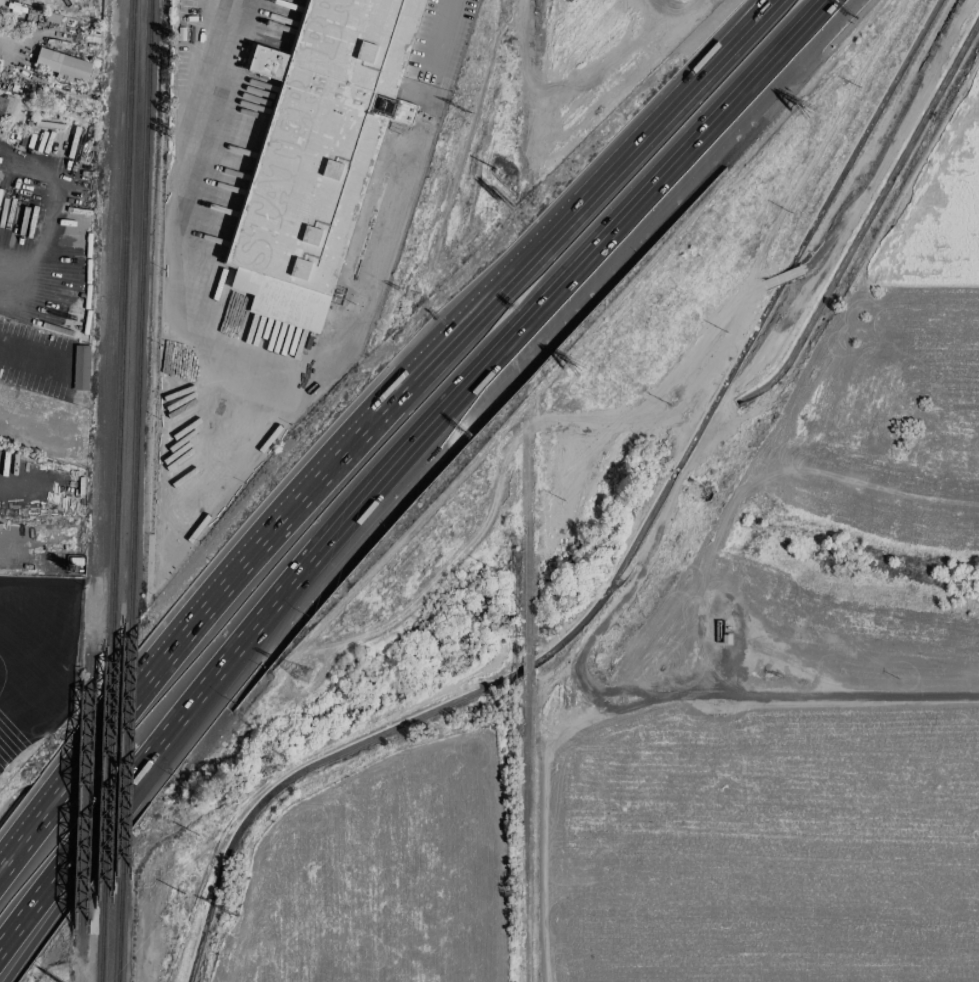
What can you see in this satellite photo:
road: (442, 33)
building: (64, 65)
railway: (529, 95)
building: (5, 105)
building: (319, 153)
road: (615, 162)
railway: (140, 310)
railway: (122, 333)
road: (206, 343)
building: (80, 368)
road: (456, 395)
road: (222, 590)
railway: (39, 699)
railway: (126, 749)
railway: (108, 785)
road: (54, 877)
road: (499, 883)
road: (62, 897)
railway: (118, 929)
railway: (103, 942)

